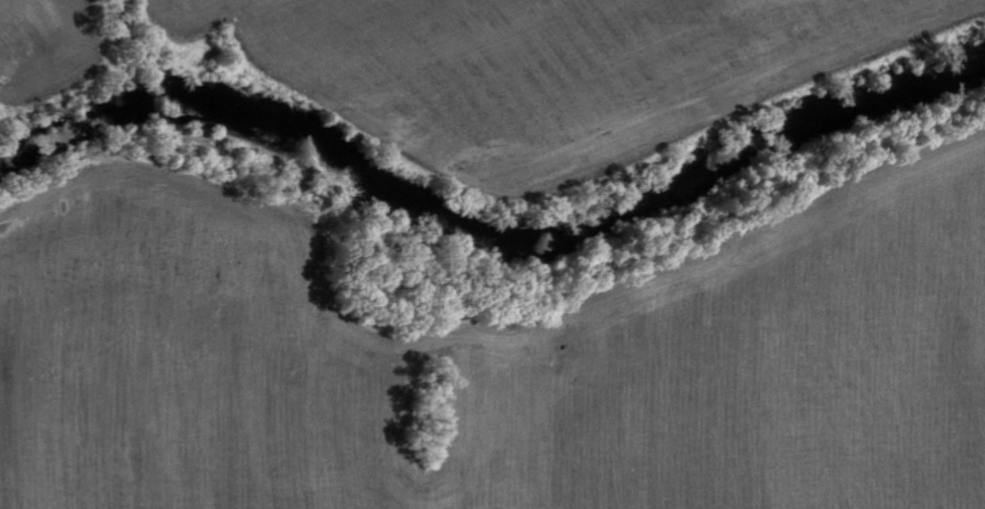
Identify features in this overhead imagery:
road: (932, 439)

